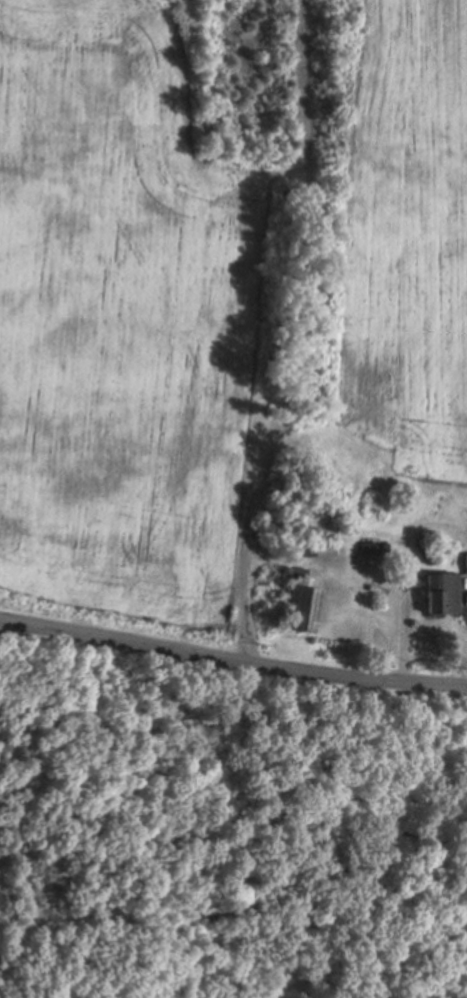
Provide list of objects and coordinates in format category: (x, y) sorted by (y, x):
quarry: (307, 82)
road: (295, 334)
building: (370, 546)
building: (316, 549)
building: (466, 562)
building: (296, 572)
road: (363, 582)
building: (442, 593)
building: (301, 607)
road: (232, 661)

